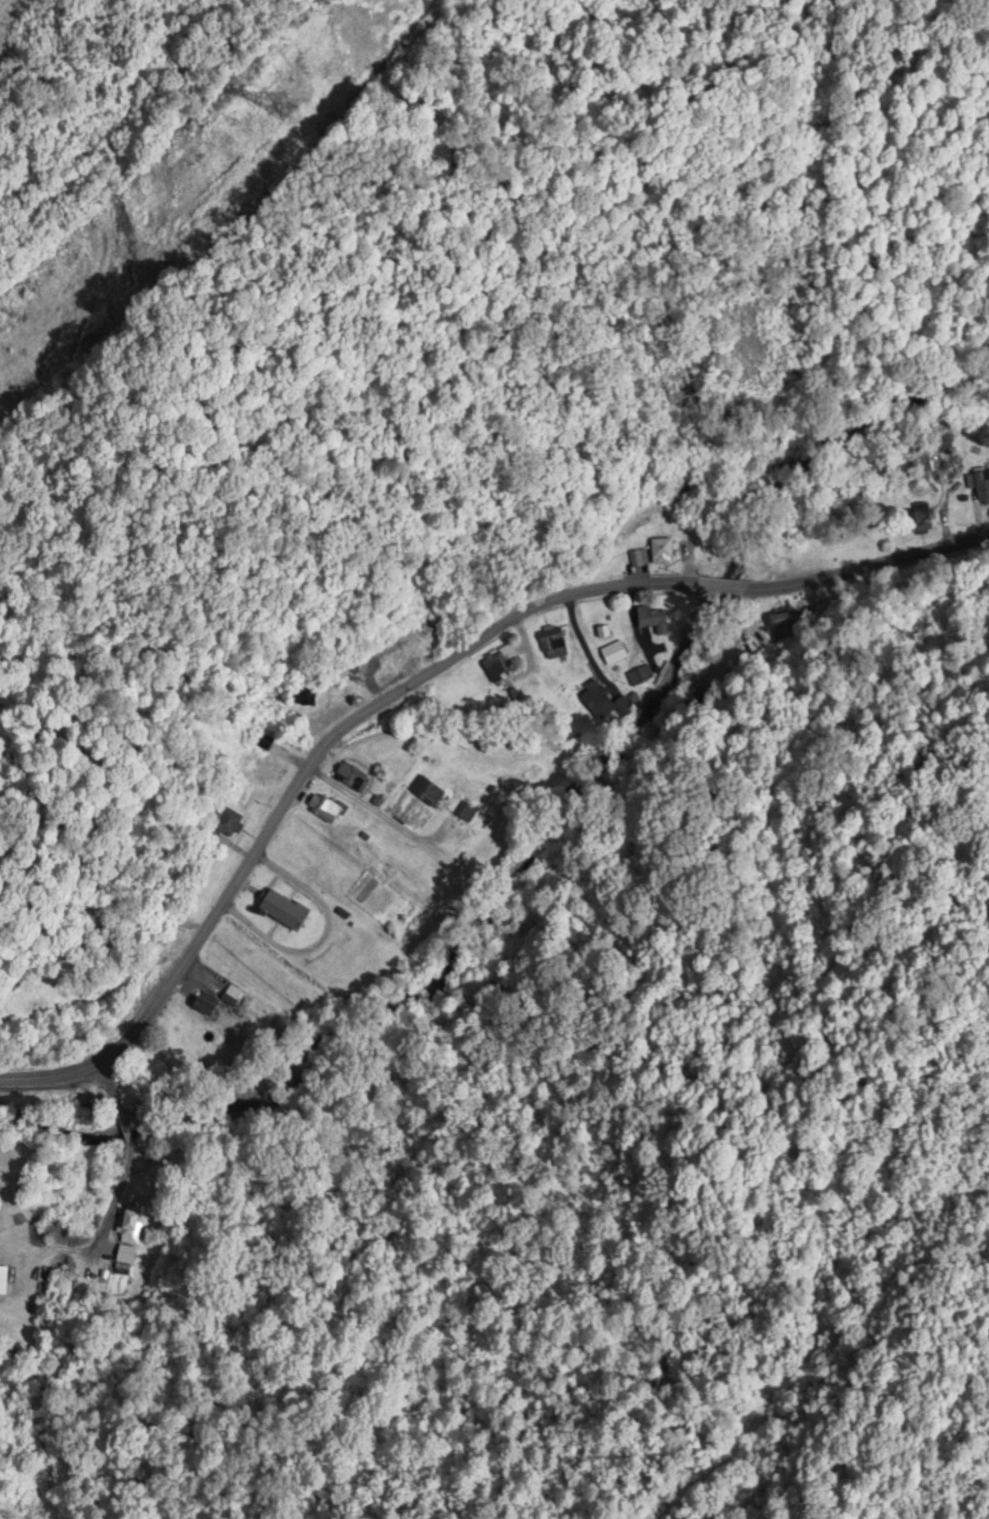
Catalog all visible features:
power tower: (305, 81)
river: (978, 372)
building: (980, 482)
building: (923, 513)
building: (663, 546)
building: (639, 554)
building: (783, 614)
building: (654, 615)
building: (554, 638)
building: (614, 648)
building: (404, 655)
building: (499, 657)
building: (640, 671)
road: (415, 679)
building: (599, 698)
building: (273, 766)
building: (352, 773)
building: (428, 787)
building: (325, 804)
building: (467, 807)
building: (228, 818)
building: (285, 907)
building: (204, 998)
road: (135, 1151)
building: (131, 1223)

